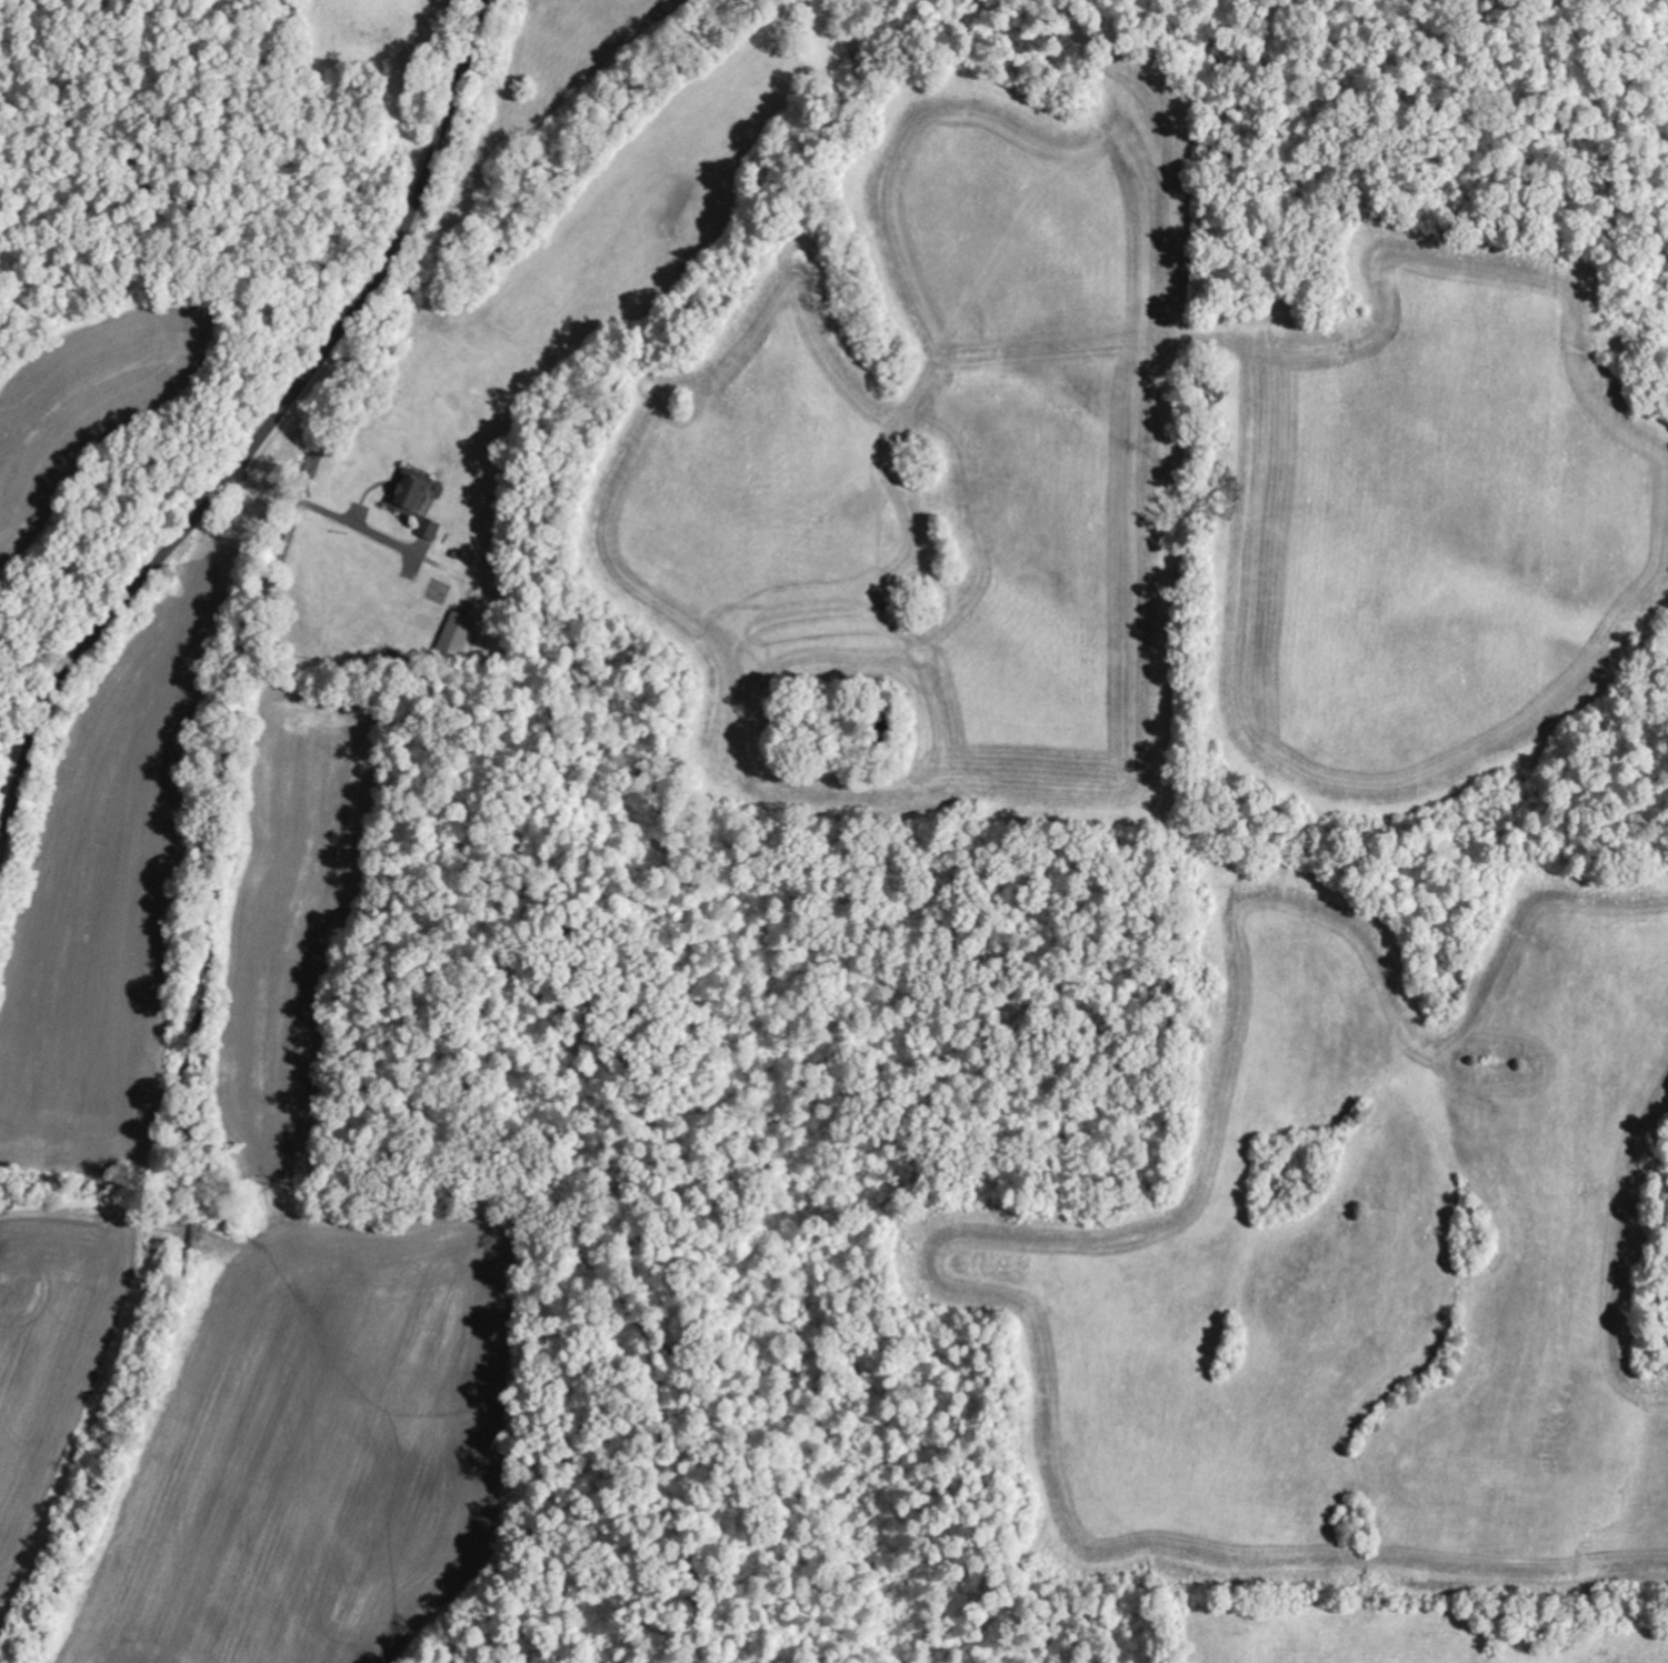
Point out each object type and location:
road: (256, 448)
building: (411, 492)
building: (458, 635)

